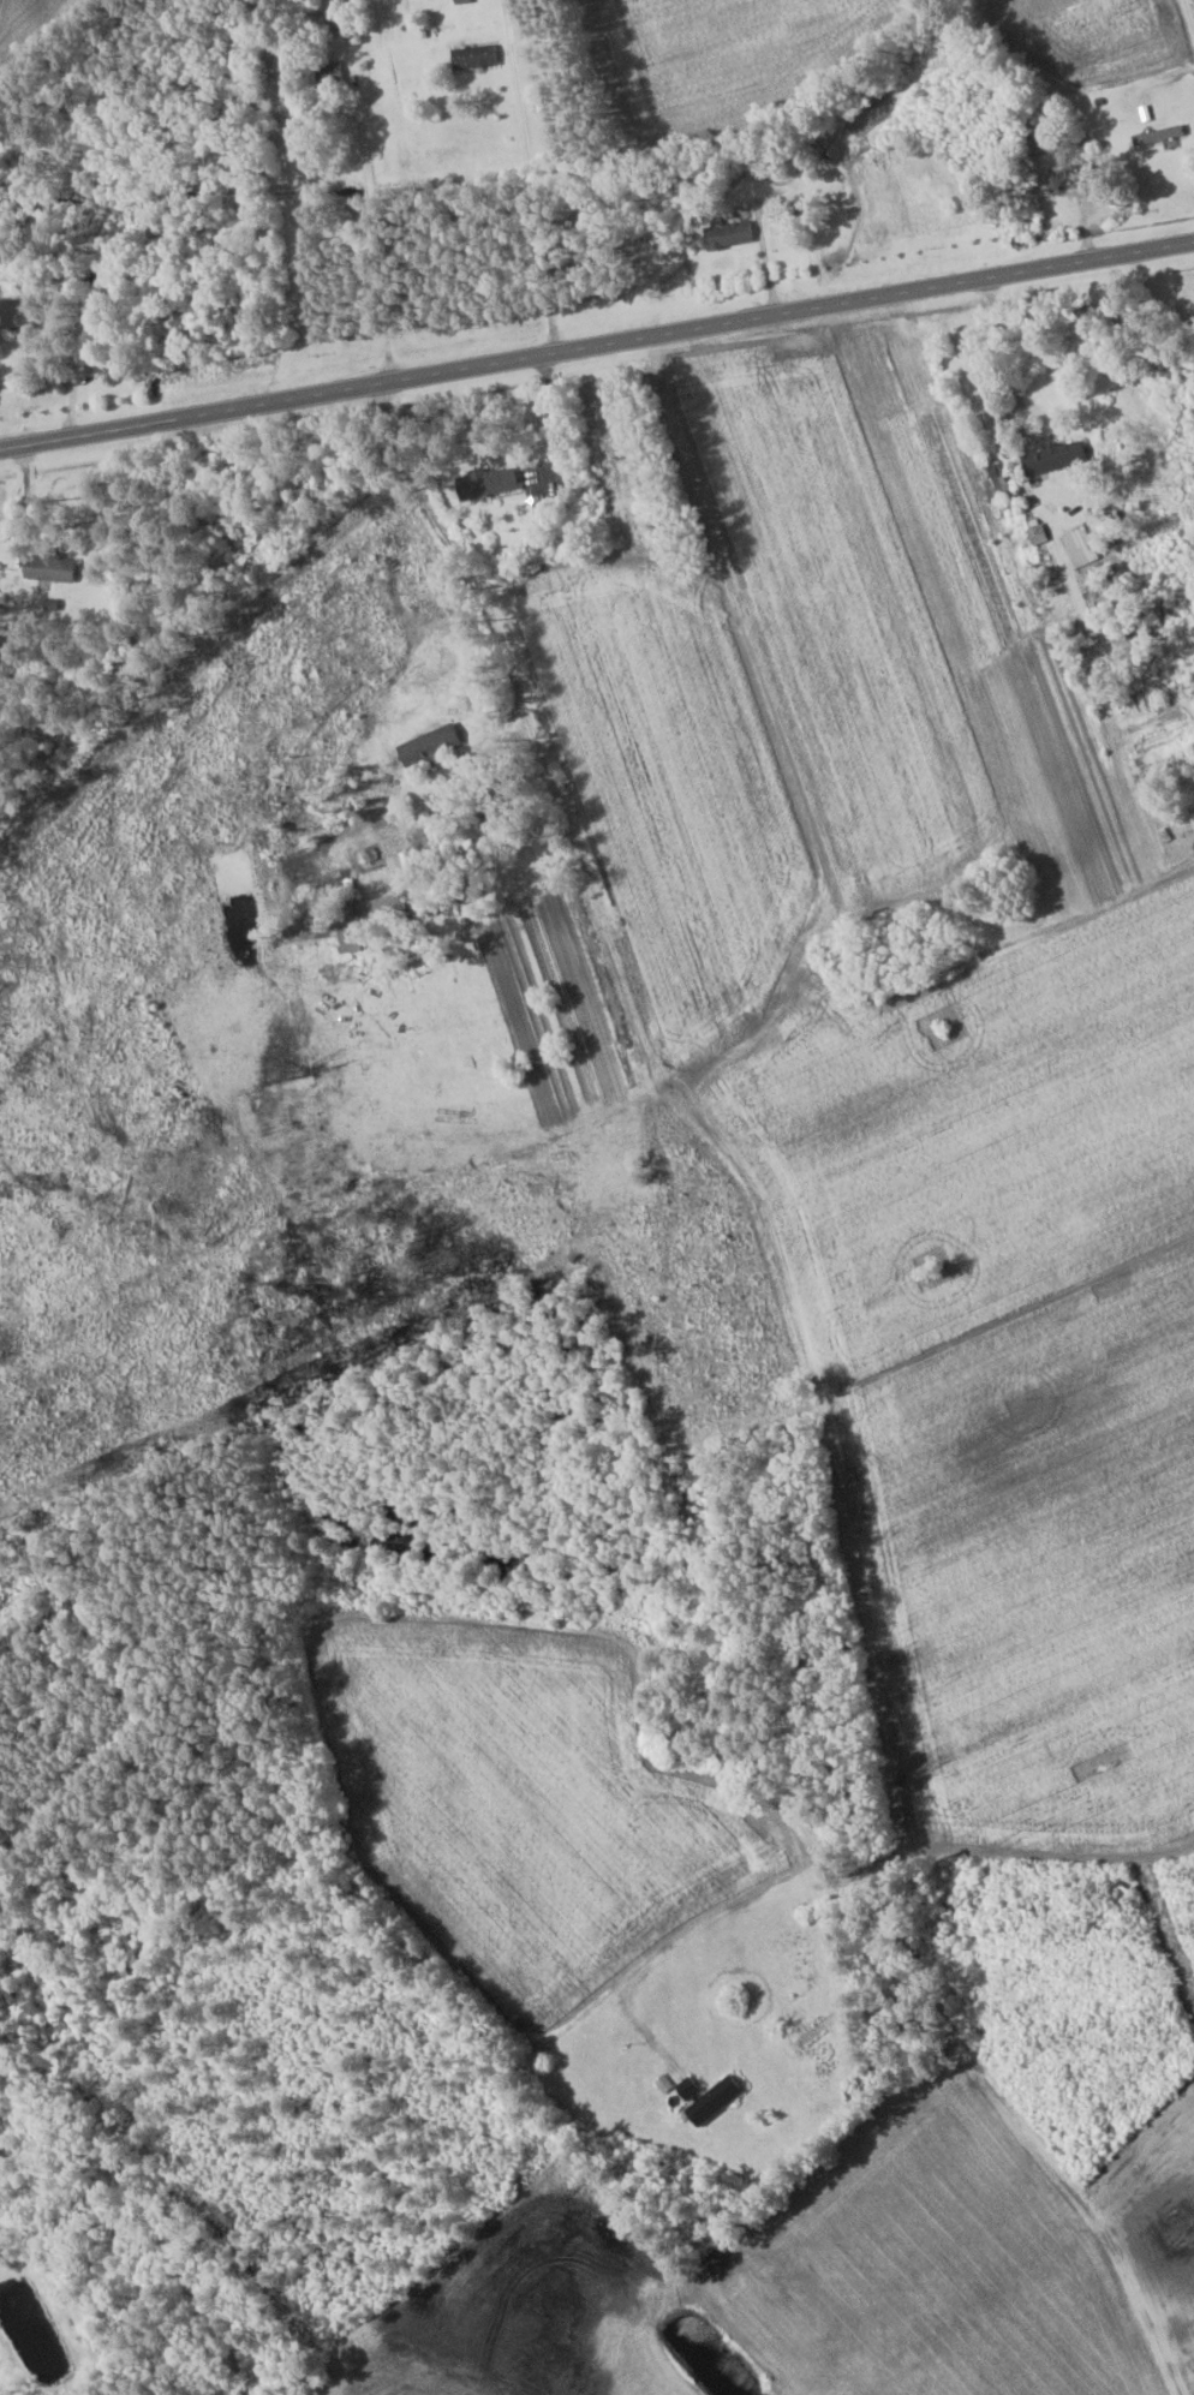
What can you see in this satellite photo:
building: (460, 1)
building: (472, 56)
building: (327, 74)
building: (1062, 174)
road: (536, 213)
building: (784, 232)
building: (727, 234)
building: (16, 313)
road: (597, 345)
building: (1049, 456)
building: (995, 471)
building: (483, 482)
building: (1079, 547)
building: (47, 567)
building: (426, 746)
building: (378, 912)
building: (807, 2030)
building: (686, 2088)
building: (711, 2100)

